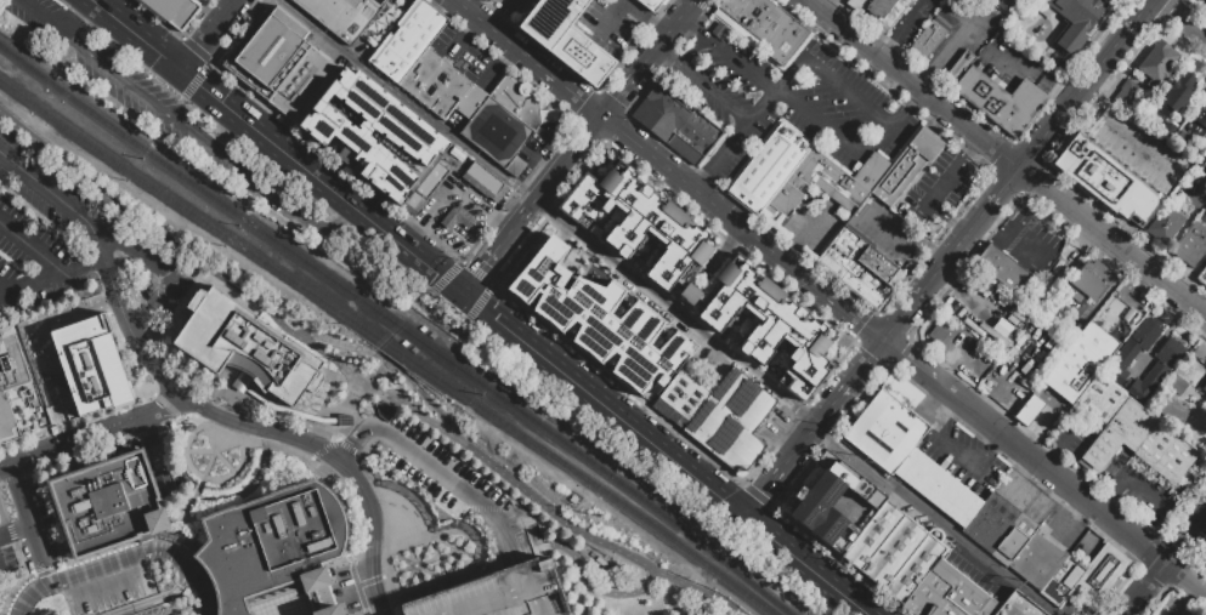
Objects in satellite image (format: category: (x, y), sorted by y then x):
building: (487, 0)
parking lot: (845, 0)
building: (1204, 0)
building: (859, 4)
building: (652, 5)
building: (1008, 5)
road: (510, 6)
building: (737, 7)
road: (834, 8)
building: (874, 8)
parking lot: (516, 10)
building: (175, 11)
building: (890, 13)
road: (73, 16)
building: (342, 16)
road: (651, 16)
road: (1136, 16)
building: (760, 17)
road: (1182, 18)
road: (616, 19)
parking lot: (912, 21)
building: (1074, 21)
road: (498, 22)
road: (916, 22)
parking lot: (616, 25)
building: (717, 28)
parking lot: (963, 32)
road: (209, 34)
building: (565, 36)
road: (667, 38)
building: (782, 38)
building: (407, 39)
building: (928, 40)
road: (956, 47)
building: (266, 51)
road: (693, 52)
road: (893, 53)
road: (727, 55)
road: (528, 59)
building: (1156, 63)
building: (962, 64)
parking lot: (1017, 66)
road: (462, 69)
road: (1019, 73)
road: (834, 82)
building: (302, 84)
road: (703, 85)
building: (442, 89)
road: (921, 92)
road: (1060, 92)
building: (1127, 95)
building: (1176, 95)
road: (621, 97)
road: (1071, 99)
road: (408, 101)
building: (521, 101)
parking lot: (782, 101)
building: (1000, 101)
parking lot: (157, 107)
building: (666, 107)
road: (164, 113)
road: (1083, 121)
building: (653, 123)
building: (1199, 123)
road: (899, 124)
road: (834, 131)
building: (497, 133)
building: (693, 137)
road: (735, 138)
building: (415, 139)
road: (276, 147)
parking lot: (1138, 153)
road: (1006, 158)
building: (1205, 160)
road: (1136, 163)
building: (768, 169)
building: (907, 169)
building: (1092, 169)
building: (828, 181)
building: (485, 182)
road: (554, 183)
road: (454, 188)
road: (942, 188)
road: (46, 190)
road: (998, 190)
parking lot: (67, 195)
building: (594, 195)
building: (1137, 201)
parking lot: (922, 211)
building: (1204, 217)
building: (459, 220)
road: (947, 220)
building: (1166, 222)
road: (815, 223)
road: (148, 224)
road: (973, 224)
road: (333, 226)
parking lot: (811, 226)
road: (742, 229)
building: (656, 232)
parking lot: (1031, 241)
building: (1190, 245)
road: (32, 250)
road: (792, 252)
road: (938, 264)
road: (81, 267)
building: (860, 267)
road: (182, 269)
building: (1003, 269)
road: (483, 271)
road: (159, 273)
building: (1202, 274)
building: (1089, 281)
road: (32, 285)
road: (923, 286)
road: (415, 294)
traffic signals: (463, 295)
building: (687, 295)
parking lot: (176, 297)
road: (676, 313)
building: (599, 319)
road: (1170, 326)
railway: (397, 328)
building: (771, 328)
road: (470, 336)
road: (345, 344)
railway: (387, 346)
building: (247, 347)
building: (1132, 349)
building: (73, 360)
building: (1080, 363)
road: (385, 364)
building: (1157, 370)
road: (922, 371)
building: (10, 378)
road: (366, 380)
building: (1178, 386)
building: (1205, 388)
road: (378, 391)
building: (1102, 398)
road: (426, 399)
building: (680, 400)
road: (826, 409)
road: (934, 410)
building: (1172, 411)
road: (340, 414)
building: (732, 422)
road: (245, 427)
building: (1119, 434)
road: (90, 435)
building: (906, 448)
road: (1060, 448)
road: (199, 450)
building: (1165, 454)
road: (155, 455)
road: (667, 455)
parking lot: (964, 455)
road: (223, 461)
road: (970, 465)
road: (432, 468)
road: (1026, 469)
parking lot: (438, 471)
road: (231, 476)
road: (1121, 476)
road: (198, 486)
road: (1138, 489)
parking lot: (1139, 489)
road: (1057, 494)
road: (759, 497)
parking lot: (1027, 497)
road: (1085, 500)
building: (831, 502)
building: (108, 503)
road: (1109, 505)
road: (1024, 506)
road: (1077, 511)
road: (934, 519)
road: (33, 523)
building: (1000, 529)
parking lot: (1063, 529)
road: (17, 530)
road: (1064, 530)
road: (593, 539)
building: (272, 543)
building: (884, 545)
road: (157, 551)
building: (1202, 556)
building: (1037, 562)
road: (192, 564)
road: (1167, 564)
building: (915, 569)
parking lot: (976, 573)
road: (74, 576)
building: (1087, 576)
road: (584, 580)
road: (108, 588)
building: (932, 590)
building: (494, 594)
parking lot: (494, 594)
road: (165, 599)
road: (209, 599)
building: (959, 599)
building: (1018, 605)
building: (983, 607)
building: (329, 610)
building: (1170, 613)
building: (1165, 614)

